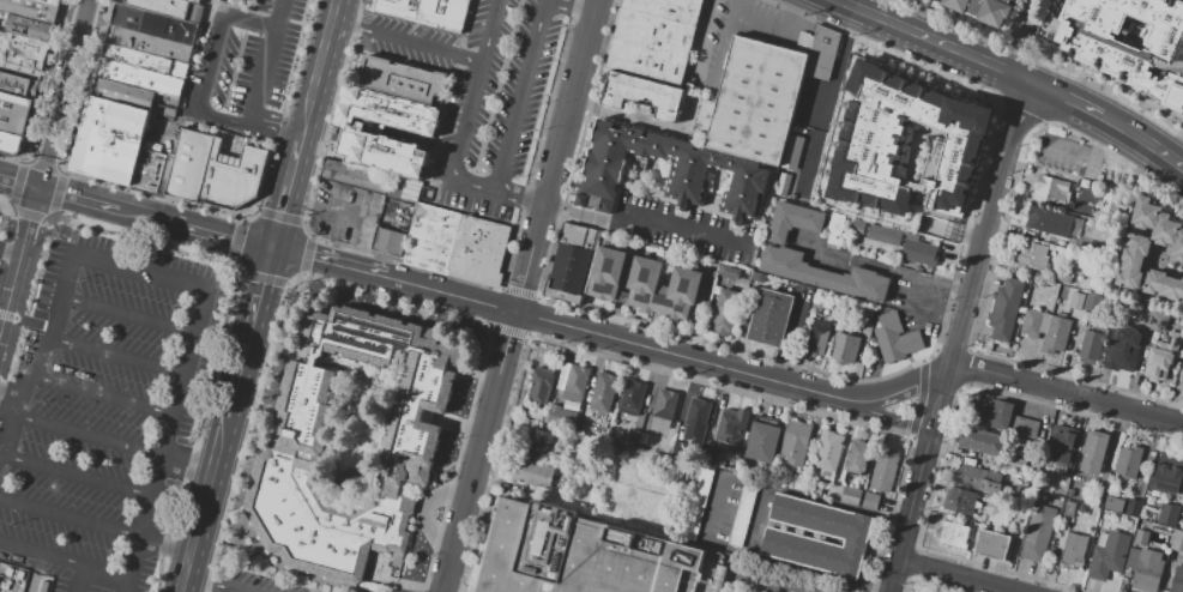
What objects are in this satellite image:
road: (1182, 0)
building: (52, 1)
road: (34, 6)
building: (163, 6)
road: (578, 6)
building: (30, 10)
building: (668, 10)
building: (979, 10)
building: (425, 11)
road: (83, 19)
road: (331, 22)
building: (25, 28)
building: (653, 31)
street lamp: (563, 32)
building: (152, 34)
road: (152, 36)
street lamp: (351, 37)
road: (406, 38)
road: (702, 41)
road: (931, 42)
road: (1044, 42)
road: (204, 49)
building: (822, 54)
building: (22, 56)
building: (137, 59)
building: (1123, 59)
street lamp: (345, 61)
building: (646, 62)
road: (207, 66)
road: (839, 67)
parking lot: (246, 70)
building: (141, 78)
building: (399, 78)
road: (256, 84)
street lamp: (339, 84)
building: (18, 85)
road: (314, 86)
parking lot: (479, 92)
building: (122, 93)
road: (61, 95)
building: (642, 95)
building: (754, 99)
building: (690, 102)
building: (14, 113)
road: (1107, 120)
building: (369, 125)
building: (355, 133)
building: (110, 140)
building: (10, 143)
building: (905, 147)
building: (792, 152)
road: (1097, 152)
parking lot: (1063, 153)
road: (1075, 153)
building: (188, 165)
building: (152, 171)
building: (675, 173)
building: (354, 177)
building: (231, 179)
road: (18, 185)
building: (783, 185)
building: (798, 185)
road: (479, 187)
building: (808, 187)
road: (288, 188)
building: (402, 189)
building: (1051, 192)
building: (795, 195)
road: (519, 198)
building: (802, 199)
road: (90, 203)
building: (1110, 204)
road: (583, 216)
building: (793, 222)
building: (1049, 222)
road: (988, 223)
building: (858, 224)
building: (1159, 225)
road: (361, 228)
building: (833, 228)
road: (686, 230)
road: (209, 231)
building: (415, 235)
building: (885, 235)
building: (430, 238)
building: (388, 242)
building: (446, 242)
building: (461, 246)
traffic signals: (273, 249)
building: (478, 250)
building: (919, 253)
building: (495, 255)
building: (1034, 255)
building: (1159, 258)
road: (992, 259)
road: (20, 260)
building: (1133, 261)
building: (571, 262)
road: (139, 272)
building: (729, 272)
building: (606, 274)
building: (822, 274)
road: (932, 283)
building: (1164, 285)
building: (663, 288)
road: (518, 291)
building: (1009, 295)
road: (520, 296)
parking lot: (917, 297)
building: (1076, 301)
building: (1182, 302)
road: (256, 304)
building: (819, 304)
road: (490, 306)
building: (725, 312)
road: (127, 314)
road: (531, 315)
building: (867, 316)
building: (768, 318)
building: (1127, 319)
road: (30, 321)
building: (1159, 321)
road: (548, 322)
building: (1001, 324)
road: (505, 328)
building: (1045, 330)
building: (819, 338)
building: (895, 338)
road: (789, 339)
building: (1091, 346)
building: (845, 348)
road: (116, 355)
building: (1121, 356)
road: (41, 360)
building: (1158, 361)
road: (962, 369)
road: (180, 370)
road: (666, 371)
road: (837, 376)
building: (575, 383)
building: (539, 385)
building: (604, 393)
road: (1067, 393)
road: (102, 394)
road: (892, 394)
building: (632, 397)
road: (921, 399)
parking lot: (102, 407)
road: (7, 412)
building: (663, 412)
building: (698, 412)
building: (992, 412)
building: (561, 416)
road: (877, 416)
building: (1025, 427)
building: (730, 428)
road: (86, 434)
building: (634, 437)
building: (642, 437)
road: (943, 439)
building: (354, 441)
road: (925, 441)
building: (980, 441)
building: (762, 442)
building: (796, 442)
building: (541, 446)
building: (677, 448)
building: (1060, 449)
building: (828, 451)
building: (1094, 452)
building: (858, 457)
building: (710, 459)
road: (187, 461)
building: (1129, 461)
building: (1016, 464)
building: (1031, 469)
building: (885, 470)
building: (1167, 471)
building: (533, 473)
building: (804, 473)
road: (74, 476)
road: (213, 476)
road: (921, 477)
building: (979, 479)
building: (799, 483)
building: (1060, 487)
building: (814, 489)
building: (1070, 493)
building: (850, 495)
road: (716, 500)
building: (959, 500)
building: (870, 501)
building: (696, 503)
building: (1113, 505)
building: (1133, 506)
building: (1167, 513)
road: (141, 515)
road: (68, 517)
building: (803, 531)
building: (1038, 533)
building: (953, 534)
building: (1141, 538)
building: (1177, 542)
building: (992, 544)
road: (164, 549)
building: (1074, 551)
building: (1109, 554)
building: (586, 555)
road: (62, 562)
road: (911, 563)
building: (1147, 570)
road: (959, 575)
road: (79, 580)
building: (1177, 580)
road: (218, 584)
road: (924, 584)
road: (123, 585)

